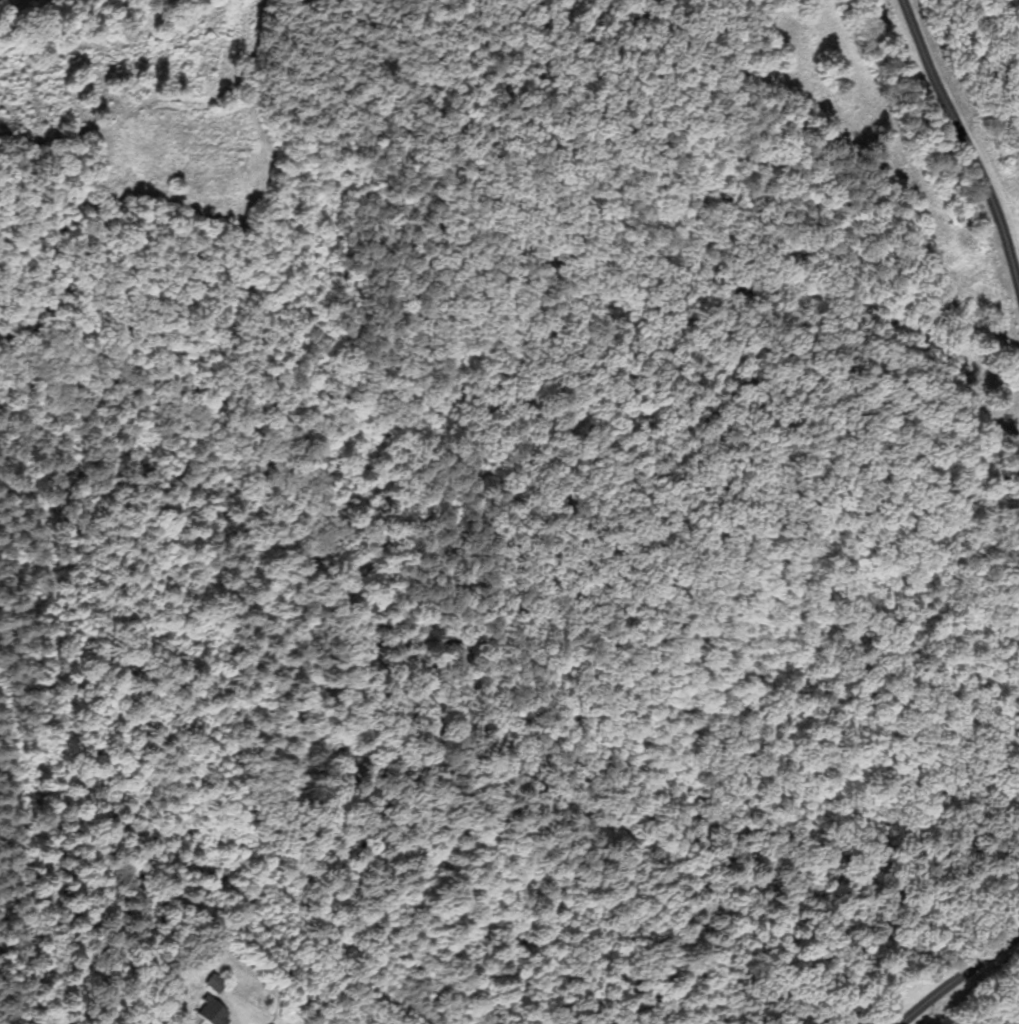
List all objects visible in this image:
road: (967, 142)
road: (958, 976)
building: (218, 984)

